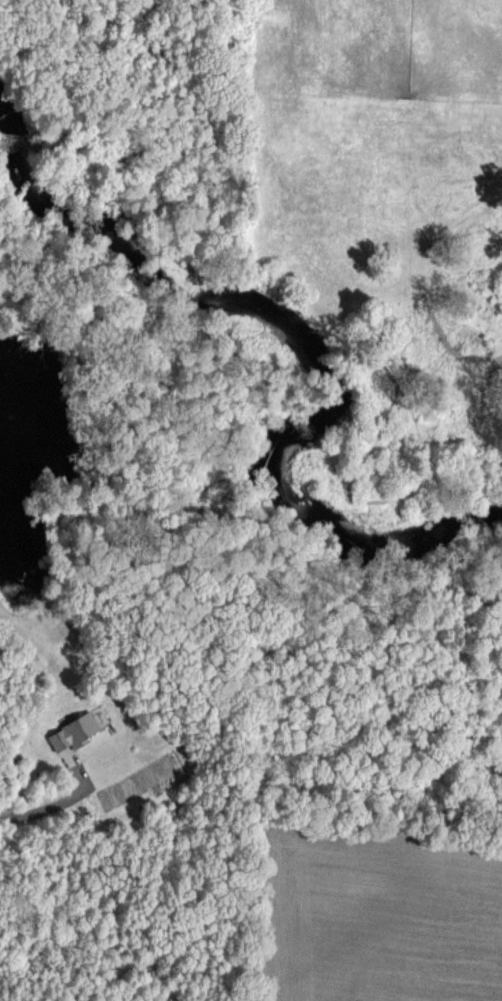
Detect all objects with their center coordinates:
river: (308, 341)
road: (40, 813)
crop: (390, 912)

